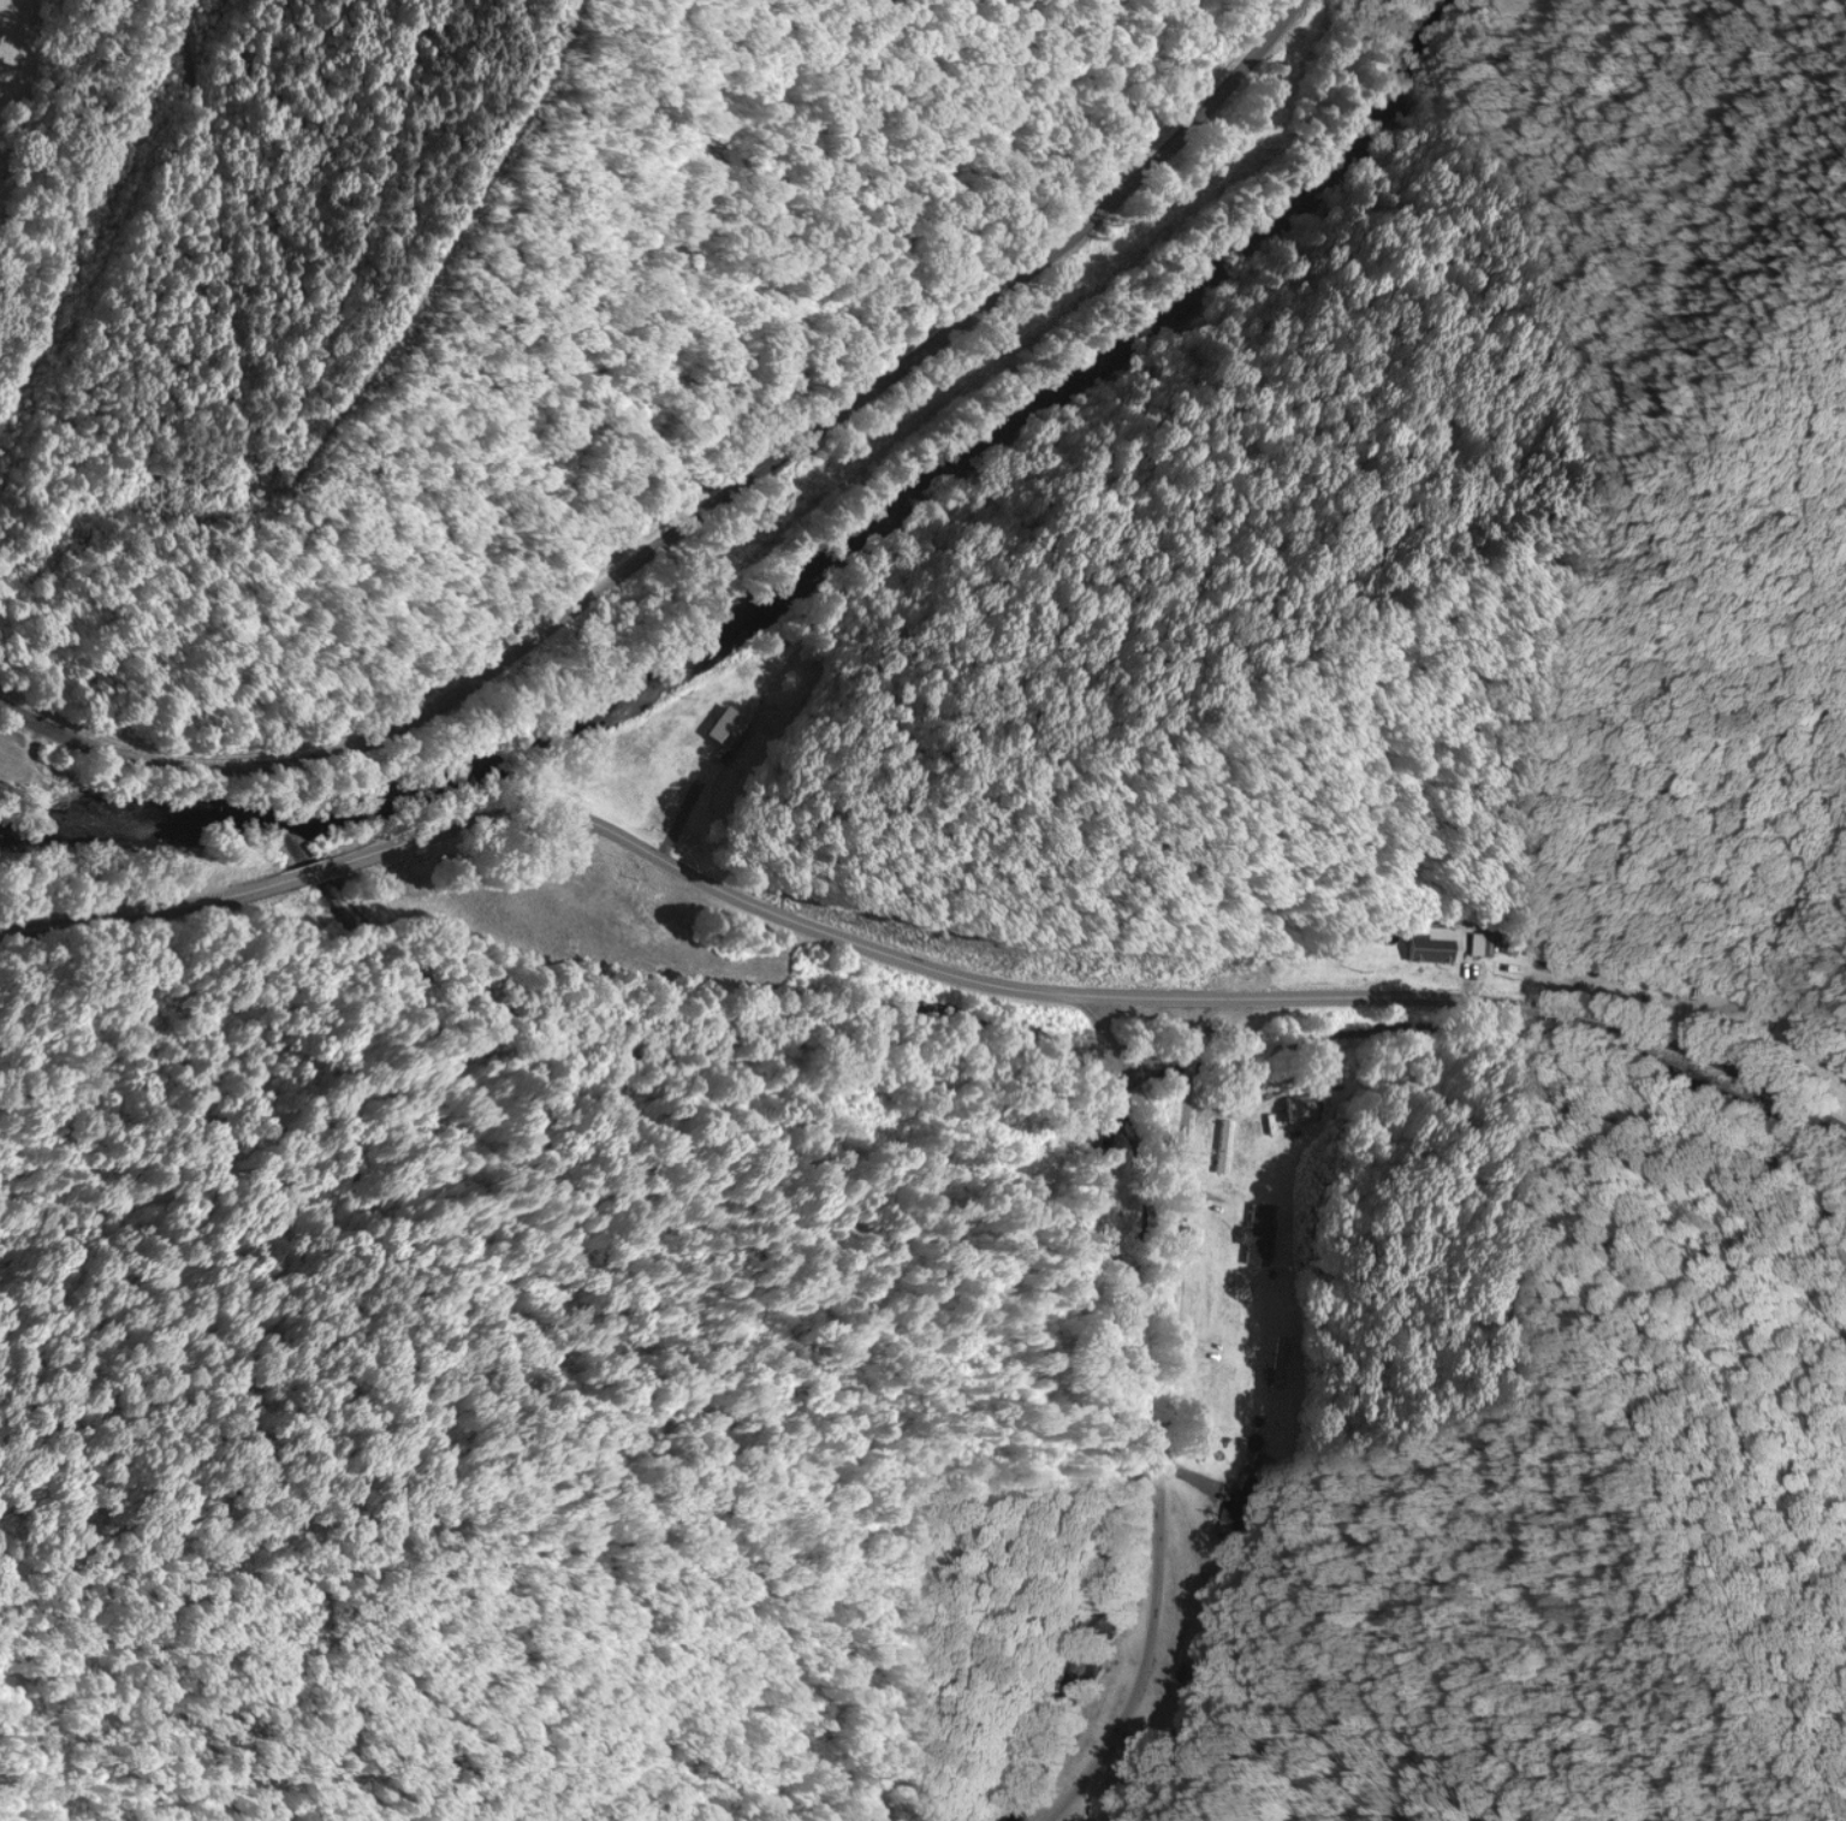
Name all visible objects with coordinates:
road: (731, 548)
building: (699, 791)
building: (1432, 944)
road: (1733, 954)
road: (913, 957)
building: (1300, 1105)
road: (1194, 1390)

